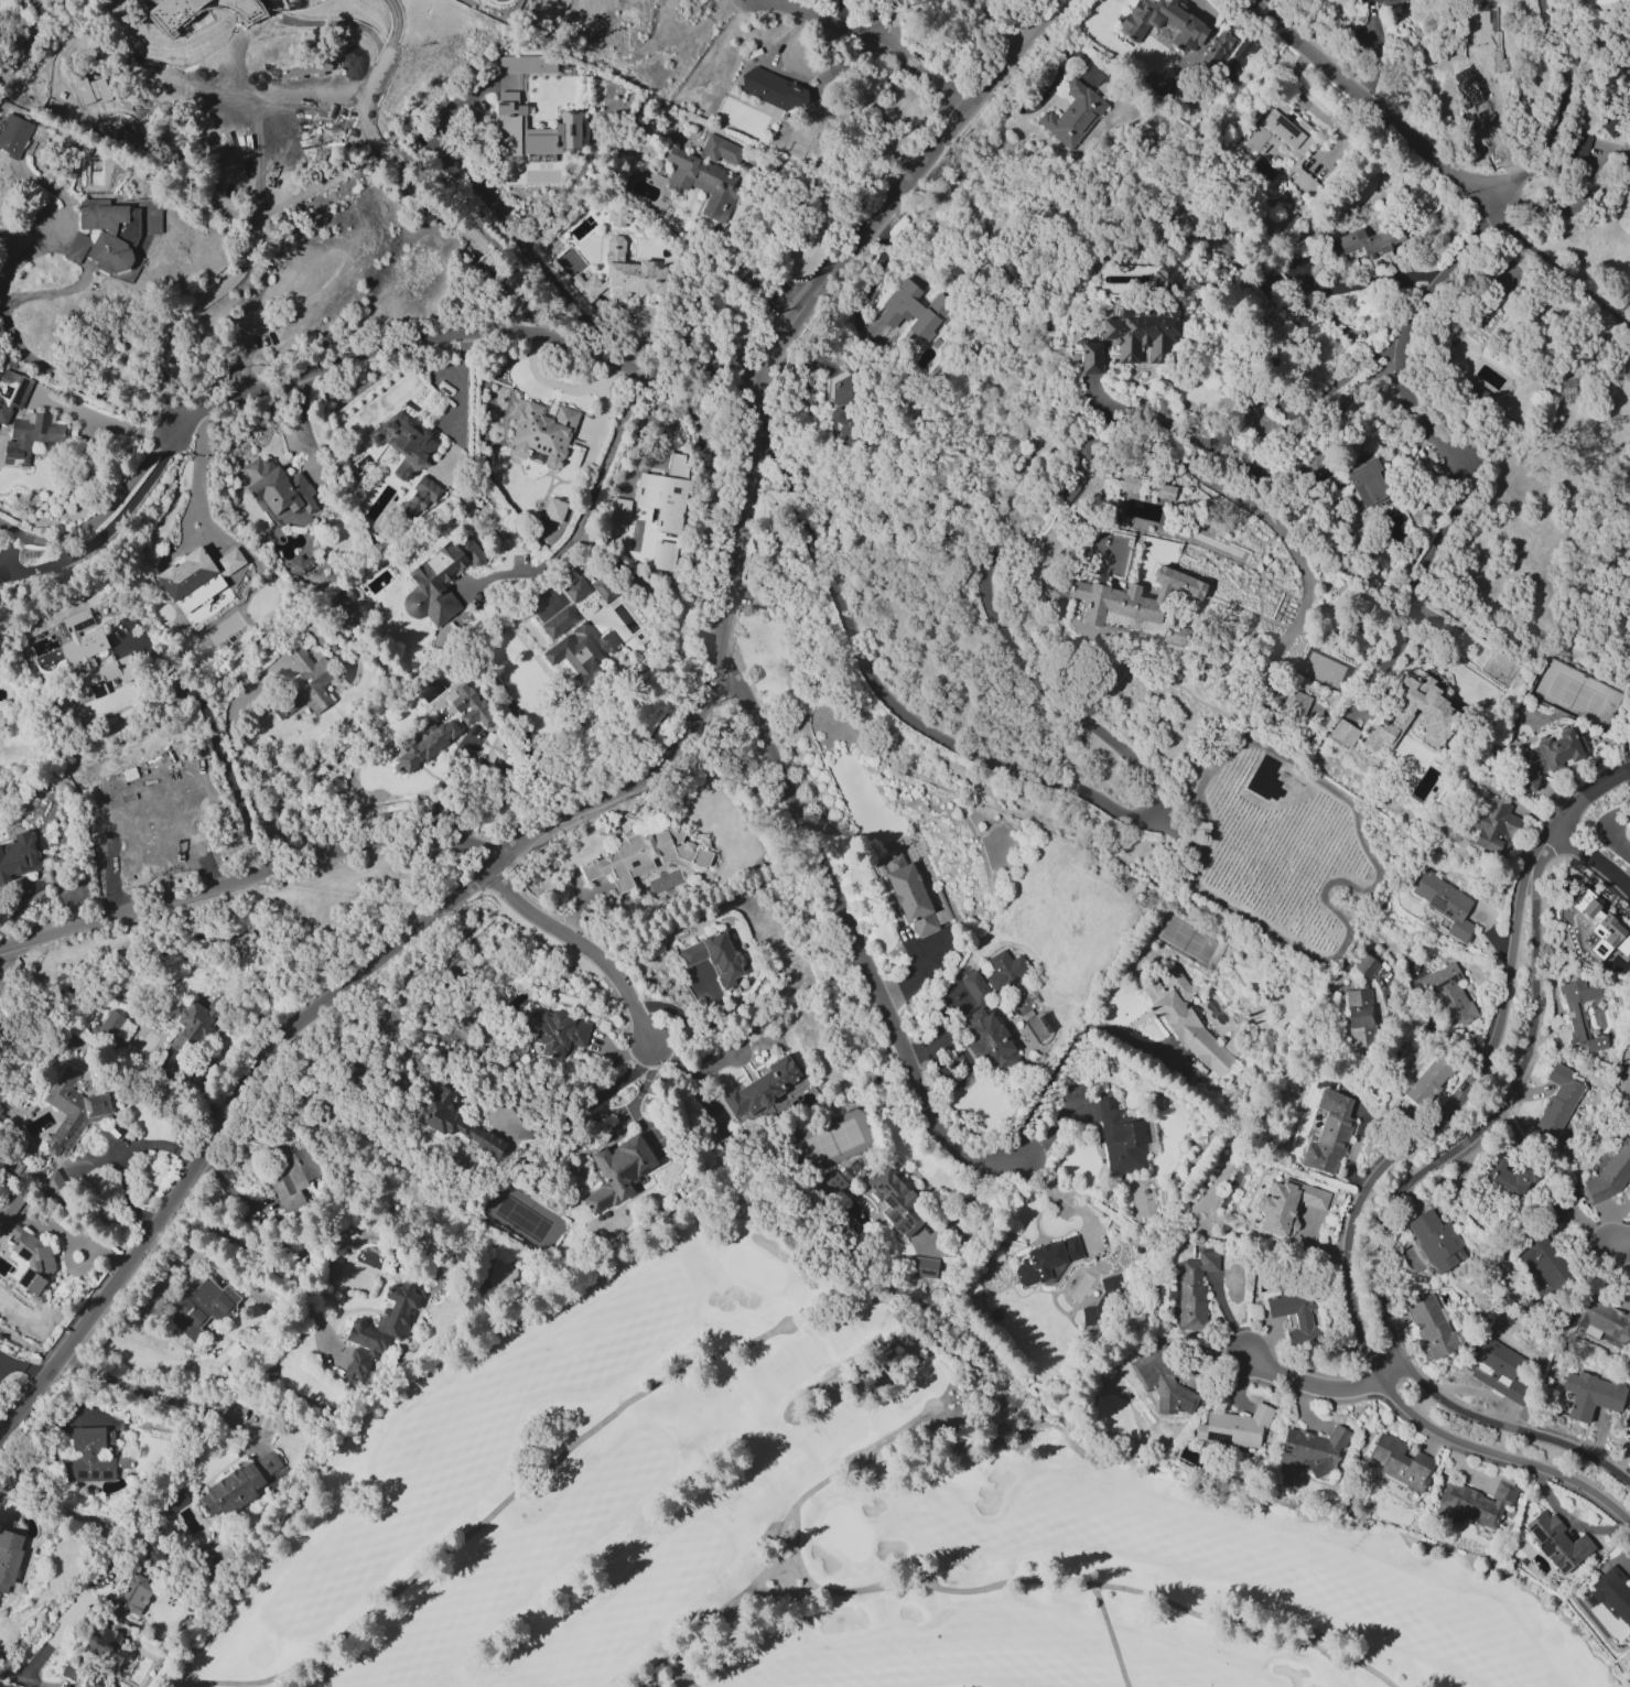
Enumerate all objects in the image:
building: (173, 0)
building: (1361, 1)
building: (1385, 1)
building: (635, 2)
building: (594, 4)
road: (839, 13)
building: (227, 17)
building: (1161, 21)
road: (882, 23)
building: (1218, 48)
building: (526, 64)
road: (930, 79)
building: (1474, 89)
building: (776, 93)
road: (1556, 107)
building: (1626, 107)
road: (1378, 110)
building: (63, 113)
building: (1073, 116)
building: (548, 117)
building: (1285, 126)
building: (532, 129)
building: (13, 134)
building: (1577, 144)
road: (402, 174)
building: (708, 175)
road: (1544, 213)
road: (501, 217)
building: (618, 217)
building: (104, 235)
building: (1365, 241)
road: (21, 258)
road: (876, 262)
road: (1553, 267)
building: (319, 272)
building: (623, 275)
building: (1163, 277)
road: (740, 279)
building: (914, 312)
building: (1143, 333)
road: (466, 335)
road: (1404, 340)
building: (1091, 357)
road: (73, 385)
building: (12, 393)
road: (1346, 399)
building: (543, 433)
building: (31, 436)
building: (403, 443)
building: (1082, 446)
road: (197, 465)
building: (676, 465)
building: (1368, 483)
building: (1130, 484)
building: (1073, 485)
building: (1147, 487)
building: (1166, 491)
building: (280, 493)
building: (420, 496)
building: (670, 500)
building: (617, 508)
building: (554, 510)
road: (589, 510)
road: (100, 512)
road: (108, 527)
building: (662, 555)
building: (298, 565)
building: (197, 576)
building: (439, 582)
building: (576, 590)
building: (603, 590)
road: (1410, 592)
building: (1131, 597)
building: (342, 608)
building: (560, 623)
building: (1176, 636)
building: (582, 646)
building: (88, 661)
building: (300, 683)
building: (1295, 704)
building: (472, 706)
road: (515, 711)
building: (1413, 714)
building: (1, 721)
building: (1343, 732)
building: (427, 744)
building: (490, 747)
building: (1551, 756)
road: (226, 767)
building: (148, 791)
road: (1092, 797)
road: (1570, 813)
road: (564, 814)
building: (1494, 824)
building: (1629, 828)
building: (1628, 831)
building: (1629, 834)
building: (17, 856)
building: (643, 857)
road: (1594, 859)
road: (252, 875)
building: (911, 896)
building: (1445, 904)
building: (1597, 924)
road: (852, 940)
road: (582, 945)
building: (714, 958)
road: (6, 960)
building: (1367, 966)
building: (1006, 970)
building: (975, 988)
building: (1449, 995)
building: (1579, 1016)
building: (1361, 1018)
building: (195, 1023)
building: (1187, 1023)
building: (115, 1028)
building: (555, 1031)
building: (989, 1041)
building: (1429, 1081)
building: (762, 1088)
road: (600, 1094)
building: (1558, 1102)
building: (74, 1111)
building: (453, 1121)
building: (1329, 1135)
building: (1121, 1138)
building: (619, 1171)
building: (1609, 1175)
building: (293, 1176)
building: (1507, 1178)
building: (51, 1179)
building: (835, 1182)
building: (1315, 1198)
building: (897, 1201)
building: (1276, 1208)
building: (1547, 1218)
road: (1388, 1223)
building: (1436, 1240)
road: (1621, 1245)
road: (1351, 1246)
building: (25, 1248)
road: (262, 1255)
building: (1047, 1259)
building: (1542, 1263)
building: (925, 1268)
building: (1195, 1290)
building: (1102, 1300)
building: (201, 1308)
building: (1296, 1313)
building: (1601, 1317)
building: (1433, 1326)
building: (380, 1329)
building: (1498, 1370)
building: (1164, 1378)
road: (1326, 1389)
building: (1593, 1395)
road: (160, 1397)
building: (1629, 1426)
building: (1234, 1428)
building: (1316, 1448)
building: (88, 1458)
building: (1401, 1463)
road: (828, 1483)
building: (238, 1486)
building: (173, 1503)
building: (1478, 1503)
road: (498, 1513)
park: (832, 1520)
building: (1557, 1542)
building: (9, 1558)
road: (776, 1559)
road: (850, 1593)
building: (1615, 1594)
building: (130, 1598)
road: (1246, 1631)
road: (53, 1636)
road: (1112, 1637)
building: (105, 1656)
road: (327, 1673)
road: (21, 1679)
building: (88, 1684)

